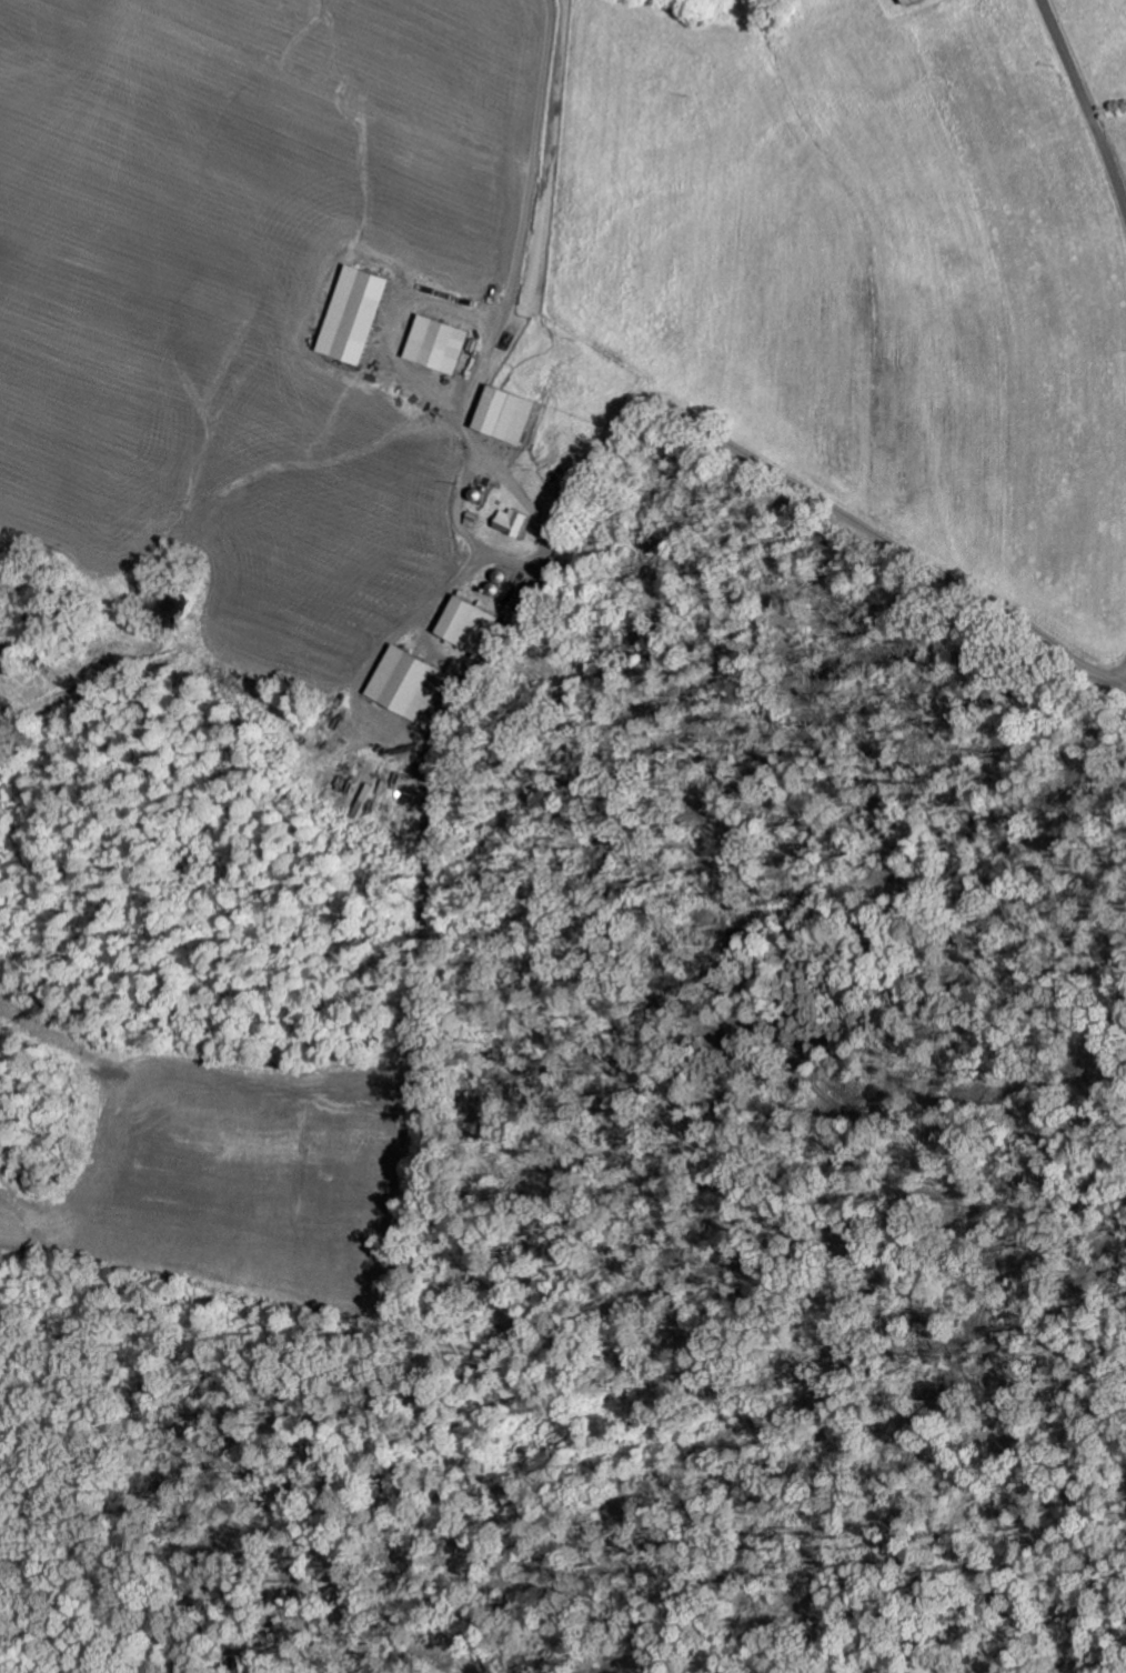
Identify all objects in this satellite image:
building: (918, 2)
road: (1087, 108)
building: (358, 313)
building: (443, 343)
building: (513, 414)
road: (841, 514)
road: (572, 519)
building: (519, 522)
building: (473, 624)
building: (411, 683)

